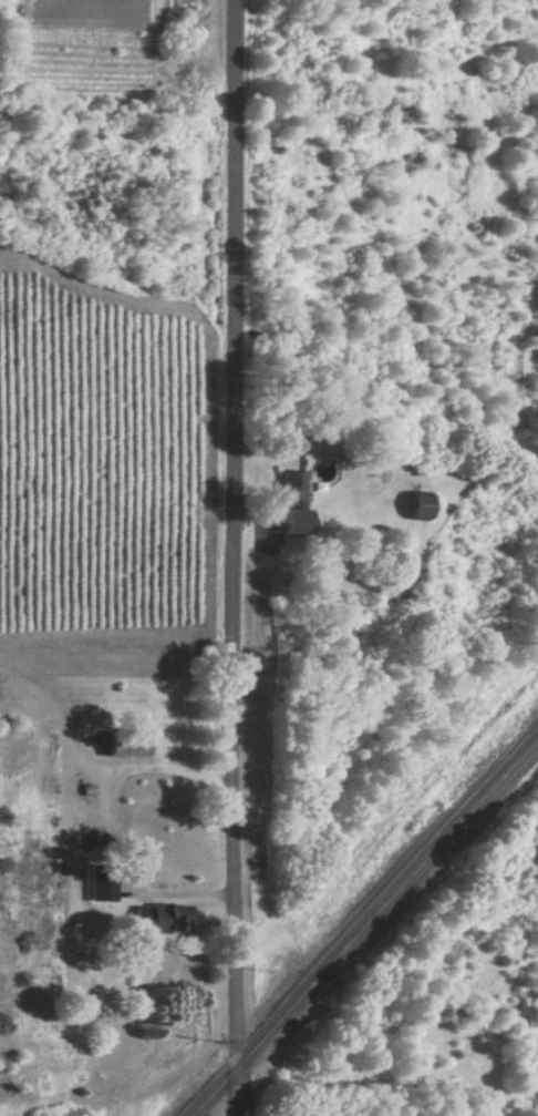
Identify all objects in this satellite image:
building: (293, 504)
building: (420, 506)
road: (237, 557)
building: (102, 892)
railway: (356, 920)
railway: (363, 926)

